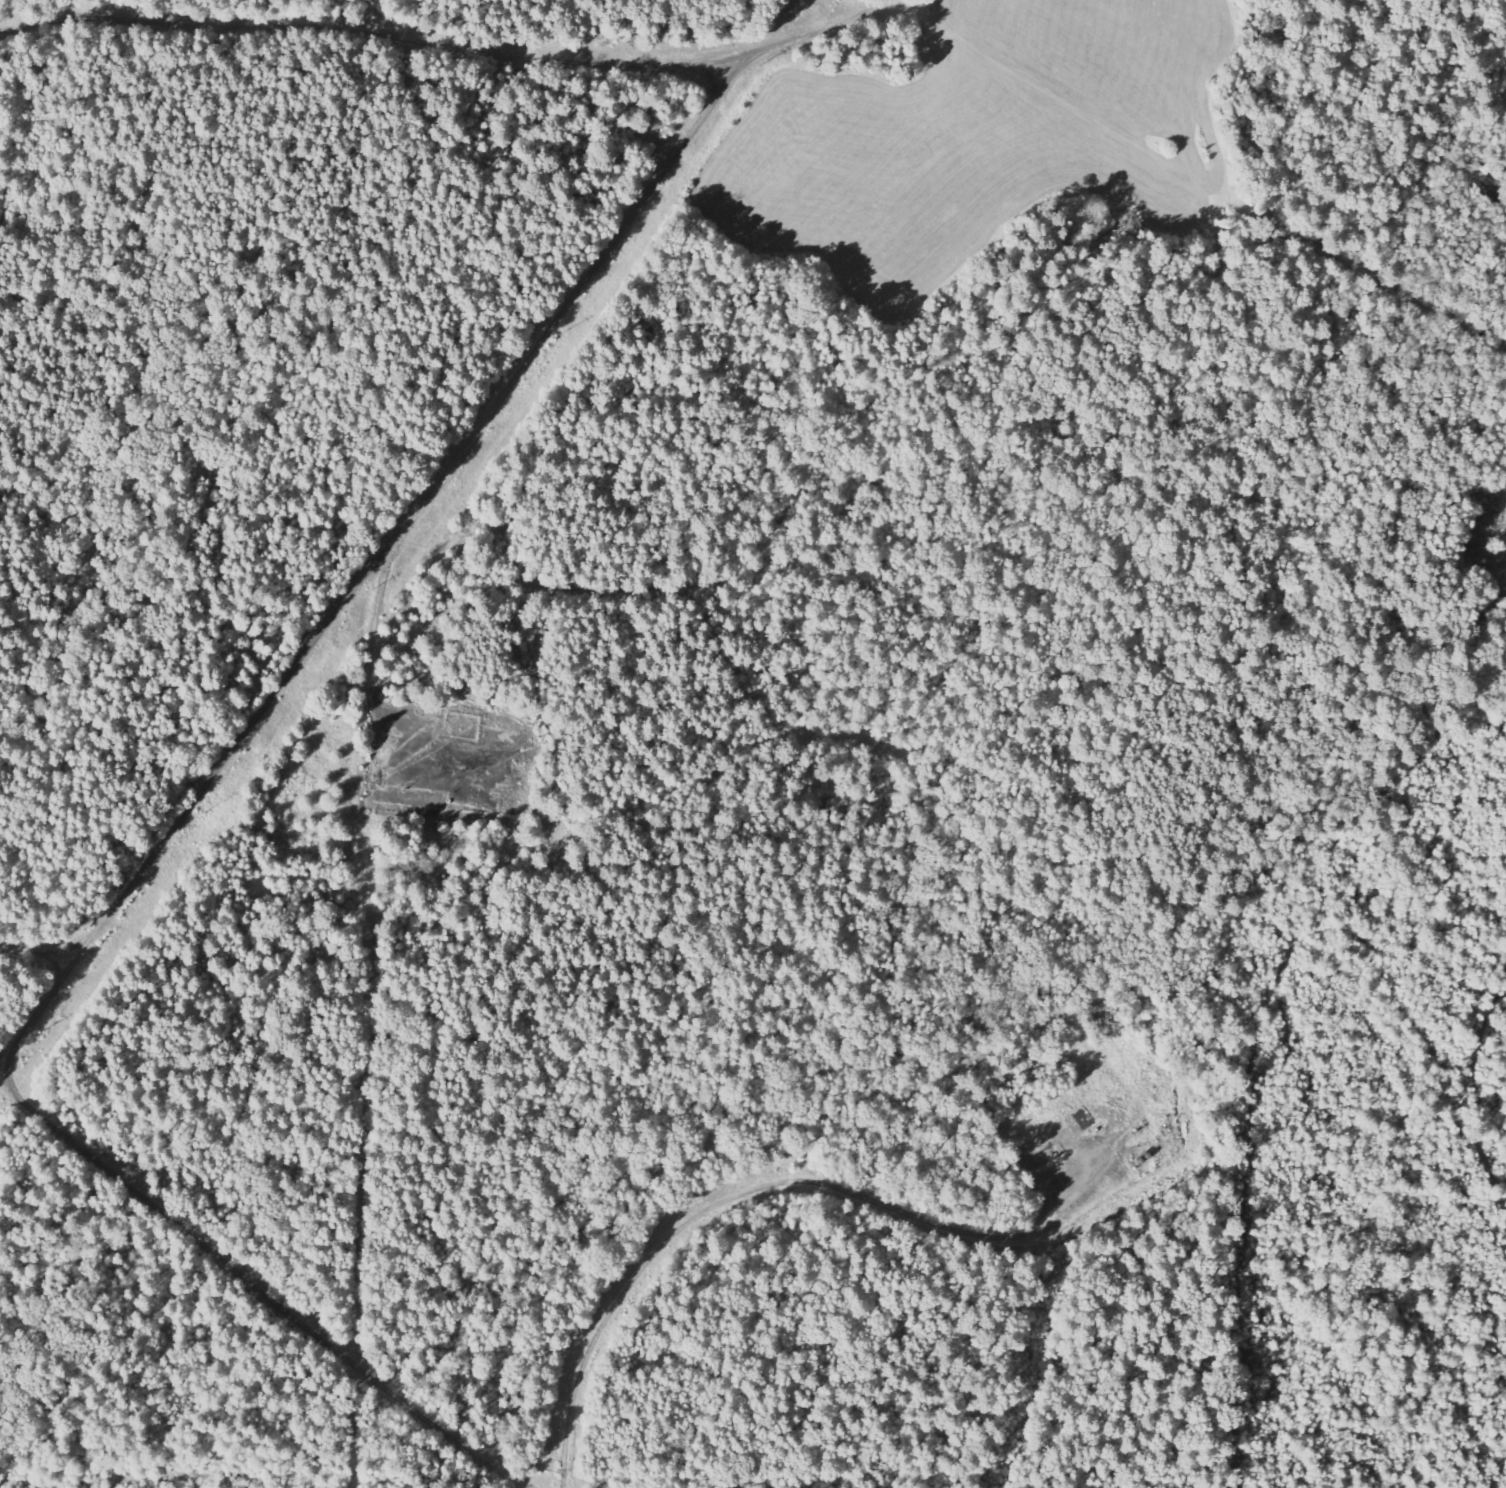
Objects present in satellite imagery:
road: (446, 46)
road: (169, 833)

